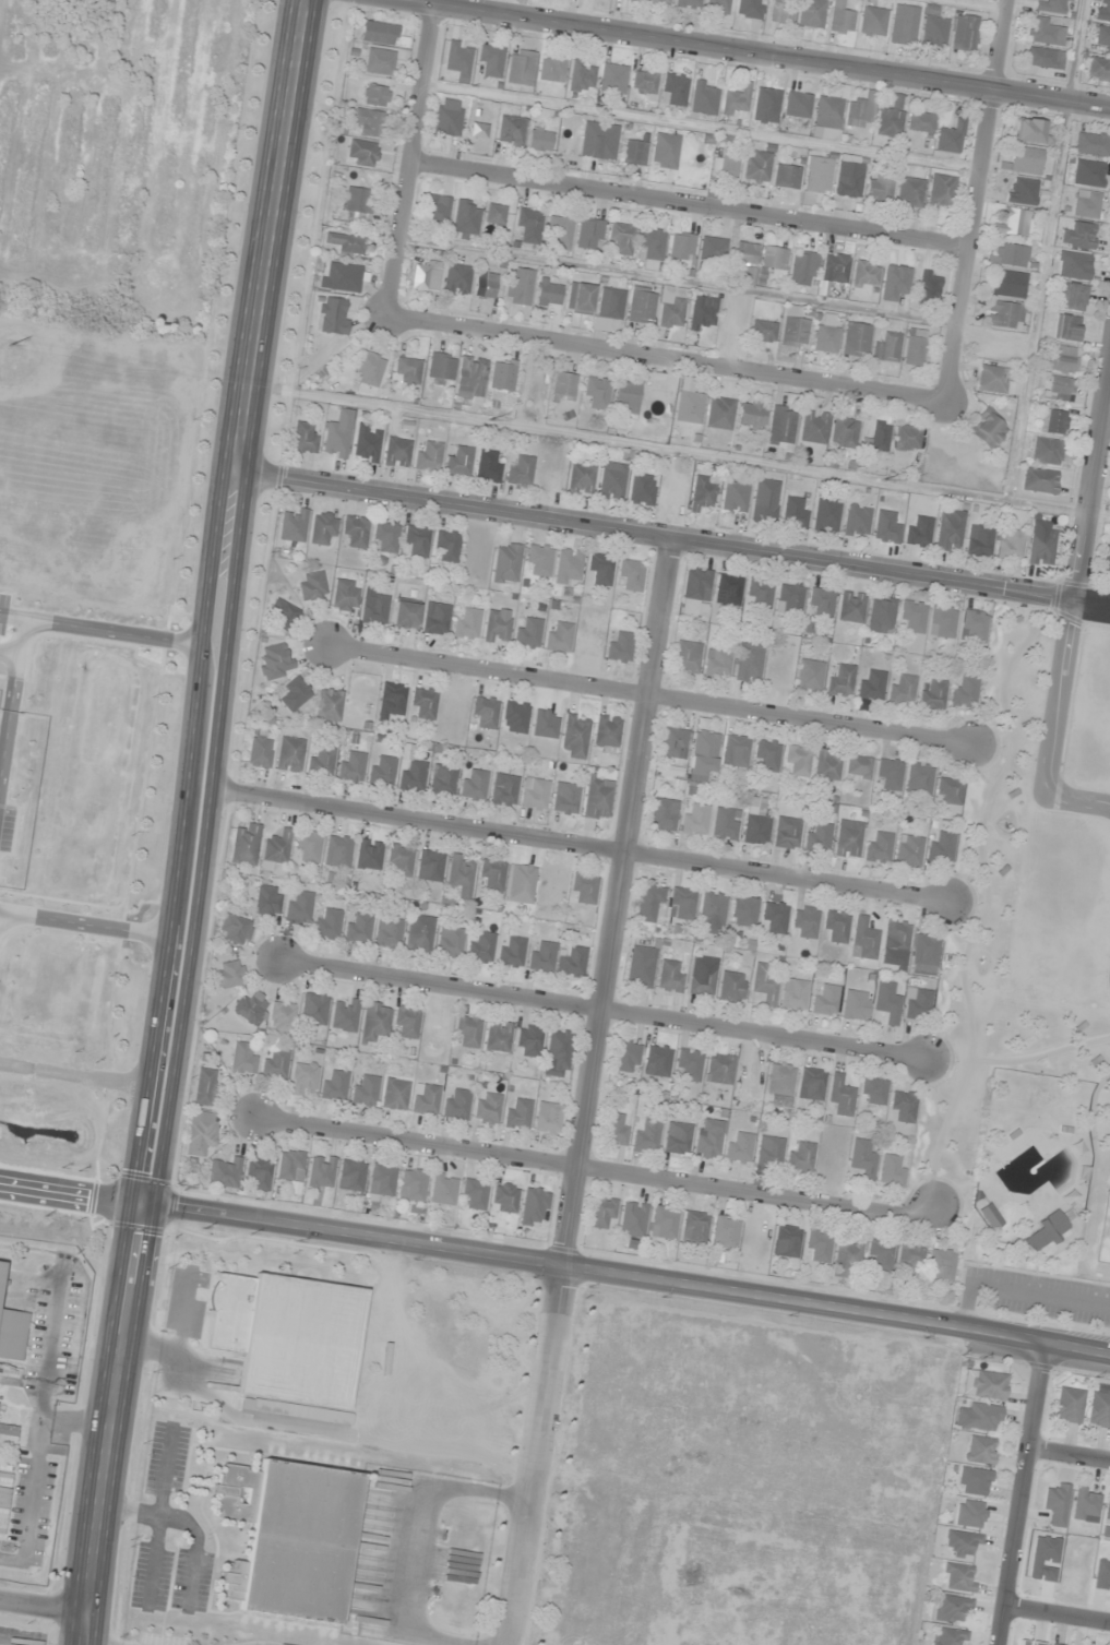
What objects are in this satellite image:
building: (658, 1)
building: (688, 3)
building: (716, 7)
building: (1052, 7)
building: (749, 9)
building: (780, 12)
building: (1102, 12)
building: (811, 13)
building: (840, 19)
building: (872, 21)
building: (903, 24)
building: (933, 28)
building: (1043, 32)
building: (380, 33)
building: (964, 33)
building: (1102, 38)
road: (750, 56)
building: (458, 58)
building: (1043, 58)
building: (380, 61)
building: (490, 61)
building: (521, 68)
building: (551, 69)
building: (1098, 69)
building: (582, 78)
building: (612, 78)
building: (644, 82)
building: (673, 90)
building: (375, 95)
building: (704, 98)
building: (736, 102)
building: (797, 105)
building: (860, 111)
building: (447, 117)
building: (826, 118)
building: (890, 119)
building: (368, 122)
building: (920, 122)
building: (478, 130)
building: (511, 130)
building: (1029, 131)
building: (538, 141)
building: (946, 142)
building: (604, 143)
building: (1091, 144)
building: (634, 151)
building: (664, 151)
building: (361, 153)
road: (414, 156)
building: (1025, 160)
building: (725, 165)
building: (757, 165)
building: (1085, 172)
building: (817, 175)
building: (786, 177)
building: (848, 179)
building: (879, 188)
building: (909, 191)
building: (1022, 191)
building: (940, 192)
road: (978, 202)
building: (357, 204)
building: (1086, 204)
road: (692, 206)
building: (435, 210)
building: (494, 214)
building: (465, 219)
building: (1012, 224)
building: (528, 225)
building: (559, 233)
building: (589, 234)
building: (1078, 235)
building: (620, 238)
building: (651, 243)
building: (681, 246)
building: (712, 249)
building: (744, 253)
building: (1010, 254)
building: (773, 259)
building: (1073, 265)
building: (802, 269)
building: (835, 269)
building: (425, 276)
building: (864, 276)
building: (341, 277)
building: (456, 279)
building: (1007, 284)
building: (485, 285)
building: (518, 286)
building: (548, 294)
building: (578, 297)
building: (1071, 297)
building: (610, 303)
building: (641, 308)
building: (702, 312)
building: (671, 313)
building: (1004, 315)
building: (333, 317)
building: (1067, 327)
building: (762, 331)
building: (793, 332)
building: (825, 338)
building: (856, 339)
building: (886, 347)
building: (914, 347)
road: (669, 359)
building: (1062, 360)
building: (440, 368)
building: (369, 369)
building: (407, 371)
building: (470, 378)
building: (501, 380)
building: (994, 380)
building: (563, 386)
building: (1058, 389)
building: (596, 393)
building: (625, 397)
building: (689, 407)
building: (719, 414)
building: (751, 415)
building: (1054, 421)
building: (781, 426)
building: (813, 427)
building: (987, 430)
building: (844, 432)
building: (879, 436)
building: (305, 438)
building: (907, 438)
building: (336, 440)
building: (367, 443)
building: (1047, 451)
building: (396, 452)
building: (427, 456)
building: (457, 461)
building: (488, 466)
building: (520, 469)
building: (581, 479)
building: (612, 480)
building: (1039, 480)
building: (641, 490)
building: (703, 492)
building: (735, 497)
building: (765, 500)
road: (1094, 501)
road: (462, 510)
building: (795, 513)
building: (826, 516)
building: (857, 522)
building: (294, 526)
building: (887, 527)
building: (323, 529)
building: (950, 531)
building: (355, 532)
building: (918, 532)
building: (385, 538)
building: (417, 539)
building: (979, 540)
building: (1010, 546)
building: (447, 547)
building: (1041, 549)
building: (538, 560)
building: (1107, 562)
building: (506, 563)
building: (569, 563)
building: (600, 569)
road: (876, 573)
building: (631, 575)
building: (312, 586)
building: (728, 591)
building: (761, 592)
building: (696, 593)
building: (345, 595)
building: (790, 598)
road: (230, 601)
building: (821, 603)
road: (1094, 605)
building: (851, 608)
building: (373, 611)
building: (881, 613)
building: (282, 615)
building: (404, 616)
building: (914, 618)
building: (434, 621)
building: (942, 622)
building: (466, 624)
building: (498, 625)
building: (974, 627)
building: (527, 633)
building: (558, 637)
building: (620, 647)
building: (688, 656)
building: (275, 660)
building: (749, 663)
building: (717, 664)
building: (810, 676)
building: (840, 679)
building: (871, 684)
building: (902, 689)
building: (293, 694)
building: (933, 694)
building: (391, 701)
road: (654, 701)
building: (422, 703)
building: (329, 705)
building: (485, 713)
building: (515, 717)
road: (1057, 724)
building: (607, 731)
building: (574, 737)
building: (673, 742)
building: (705, 747)
building: (737, 750)
building: (259, 752)
building: (289, 754)
building: (767, 754)
building: (320, 761)
building: (798, 761)
building: (827, 765)
building: (350, 766)
building: (858, 767)
building: (381, 771)
building: (888, 775)
building: (411, 776)
building: (919, 778)
building: (442, 780)
building: (473, 784)
building: (503, 790)
building: (948, 790)
building: (535, 795)
building: (564, 798)
building: (597, 799)
building: (663, 814)
building: (693, 820)
building: (754, 820)
building: (724, 824)
building: (786, 833)
building: (816, 837)
building: (847, 838)
building: (244, 845)
building: (308, 846)
road: (580, 846)
building: (941, 846)
building: (878, 847)
building: (275, 849)
building: (908, 850)
building: (337, 853)
building: (368, 855)
building: (399, 860)
building: (429, 866)
building: (461, 874)
building: (491, 875)
building: (521, 880)
building: (583, 889)
building: (649, 899)
building: (266, 902)
building: (681, 904)
building: (298, 906)
road: (617, 906)
building: (712, 908)
building: (742, 911)
building: (773, 918)
building: (803, 921)
building: (326, 925)
building: (834, 927)
building: (357, 928)
building: (234, 930)
building: (387, 932)
building: (419, 934)
building: (895, 937)
building: (862, 939)
building: (449, 942)
building: (480, 947)
building: (511, 952)
building: (923, 954)
building: (541, 956)
building: (572, 962)
building: (641, 967)
building: (227, 976)
building: (669, 977)
building: (701, 980)
building: (763, 985)
building: (730, 987)
building: (792, 994)
building: (823, 1000)
building: (885, 1002)
building: (917, 1004)
building: (854, 1005)
building: (249, 1009)
building: (313, 1009)
road: (607, 1013)
building: (344, 1015)
building: (281, 1018)
building: (373, 1022)
building: (406, 1023)
building: (467, 1033)
building: (498, 1036)
building: (528, 1040)
building: (557, 1054)
building: (242, 1058)
building: (626, 1058)
building: (657, 1060)
building: (689, 1064)
building: (273, 1065)
building: (718, 1069)
building: (302, 1078)
building: (779, 1084)
building: (811, 1084)
building: (334, 1085)
building: (203, 1087)
building: (363, 1090)
building: (872, 1092)
building: (394, 1094)
building: (839, 1096)
building: (426, 1099)
building: (456, 1105)
building: (902, 1106)
building: (487, 1109)
building: (517, 1113)
building: (548, 1119)
building: (201, 1129)
building: (616, 1129)
building: (677, 1137)
building: (645, 1139)
building: (707, 1143)
building: (738, 1147)
building: (768, 1152)
building: (800, 1156)
building: (862, 1159)
road: (589, 1168)
building: (291, 1170)
building: (891, 1170)
building: (321, 1171)
building: (224, 1173)
building: (259, 1175)
building: (351, 1176)
building: (381, 1181)
building: (413, 1185)
building: (443, 1190)
building: (474, 1194)
building: (503, 1197)
traffic signals: (144, 1204)
building: (534, 1207)
building: (602, 1213)
building: (988, 1217)
building: (633, 1219)
building: (664, 1223)
building: (695, 1227)
park: (1105, 1229)
building: (725, 1232)
building: (1043, 1232)
road: (354, 1237)
building: (786, 1242)
building: (819, 1245)
building: (880, 1255)
building: (846, 1259)
building: (909, 1259)
building: (0, 1265)
building: (941, 1265)
road: (837, 1310)
building: (12, 1334)
building: (287, 1336)
building: (984, 1385)
building: (1067, 1405)
building: (268, 1407)
building: (1098, 1410)
building: (978, 1418)
road: (106, 1423)
building: (980, 1450)
road: (1069, 1453)
road: (537, 1457)
building: (974, 1481)
road: (1021, 1493)
building: (1055, 1503)
building: (1086, 1505)
building: (1107, 1509)
building: (969, 1514)
road: (157, 1516)
road: (184, 1523)
building: (289, 1539)
building: (960, 1543)
building: (958, 1577)
road: (41, 1606)
building: (952, 1608)
road: (1057, 1611)
building: (947, 1637)
building: (1051, 1644)

